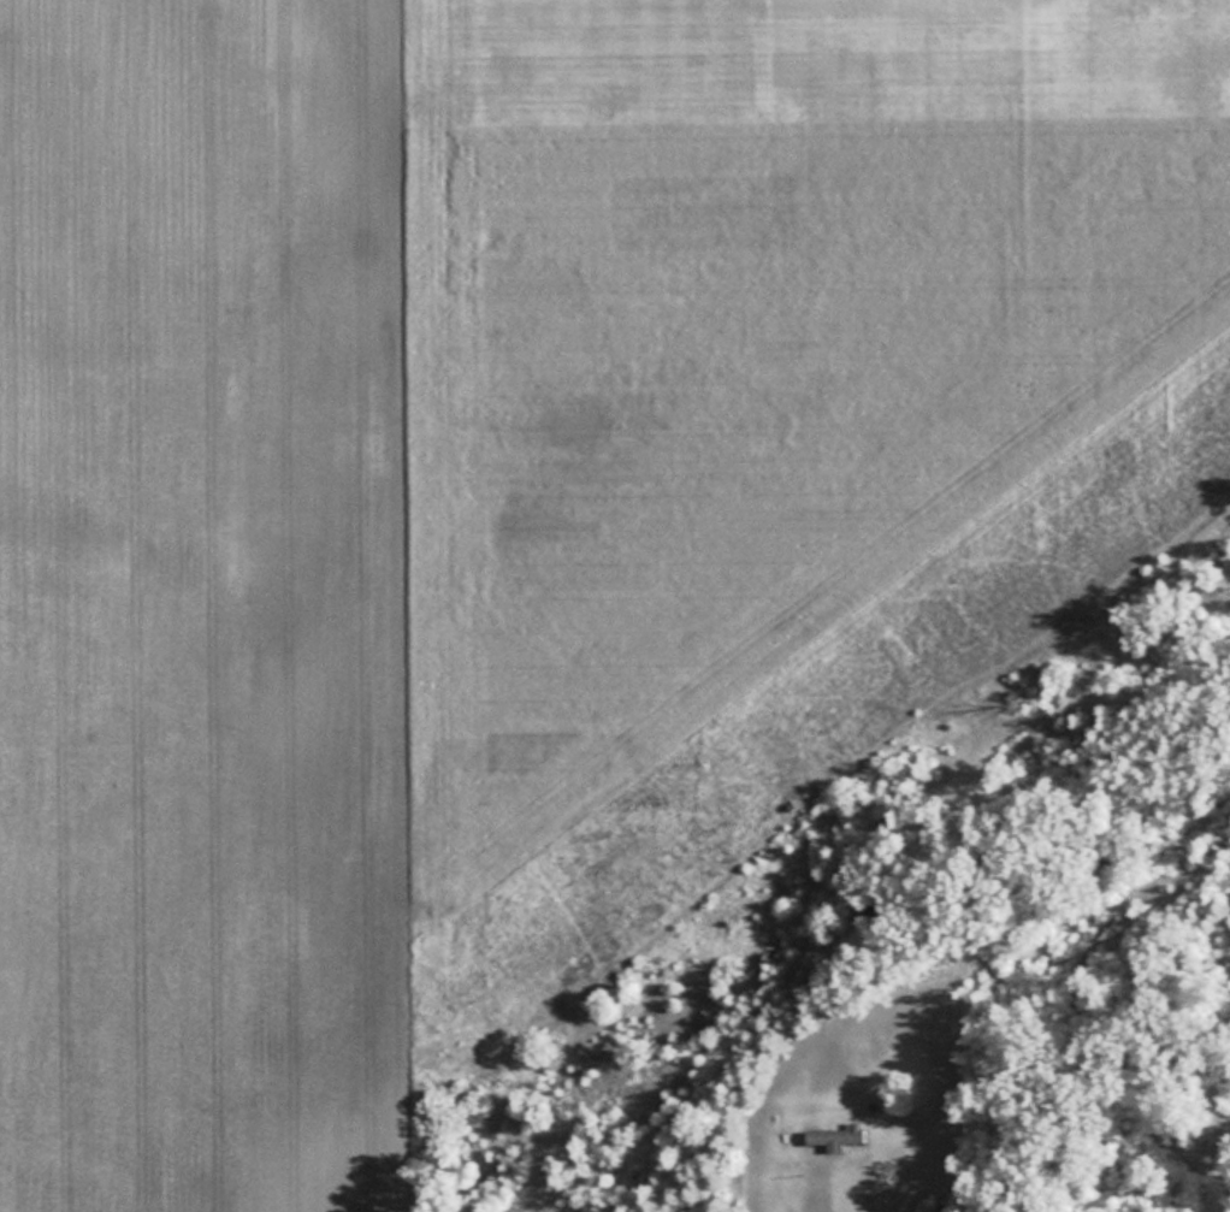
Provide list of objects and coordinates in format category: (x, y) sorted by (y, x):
road: (797, 868)
building: (833, 1137)

